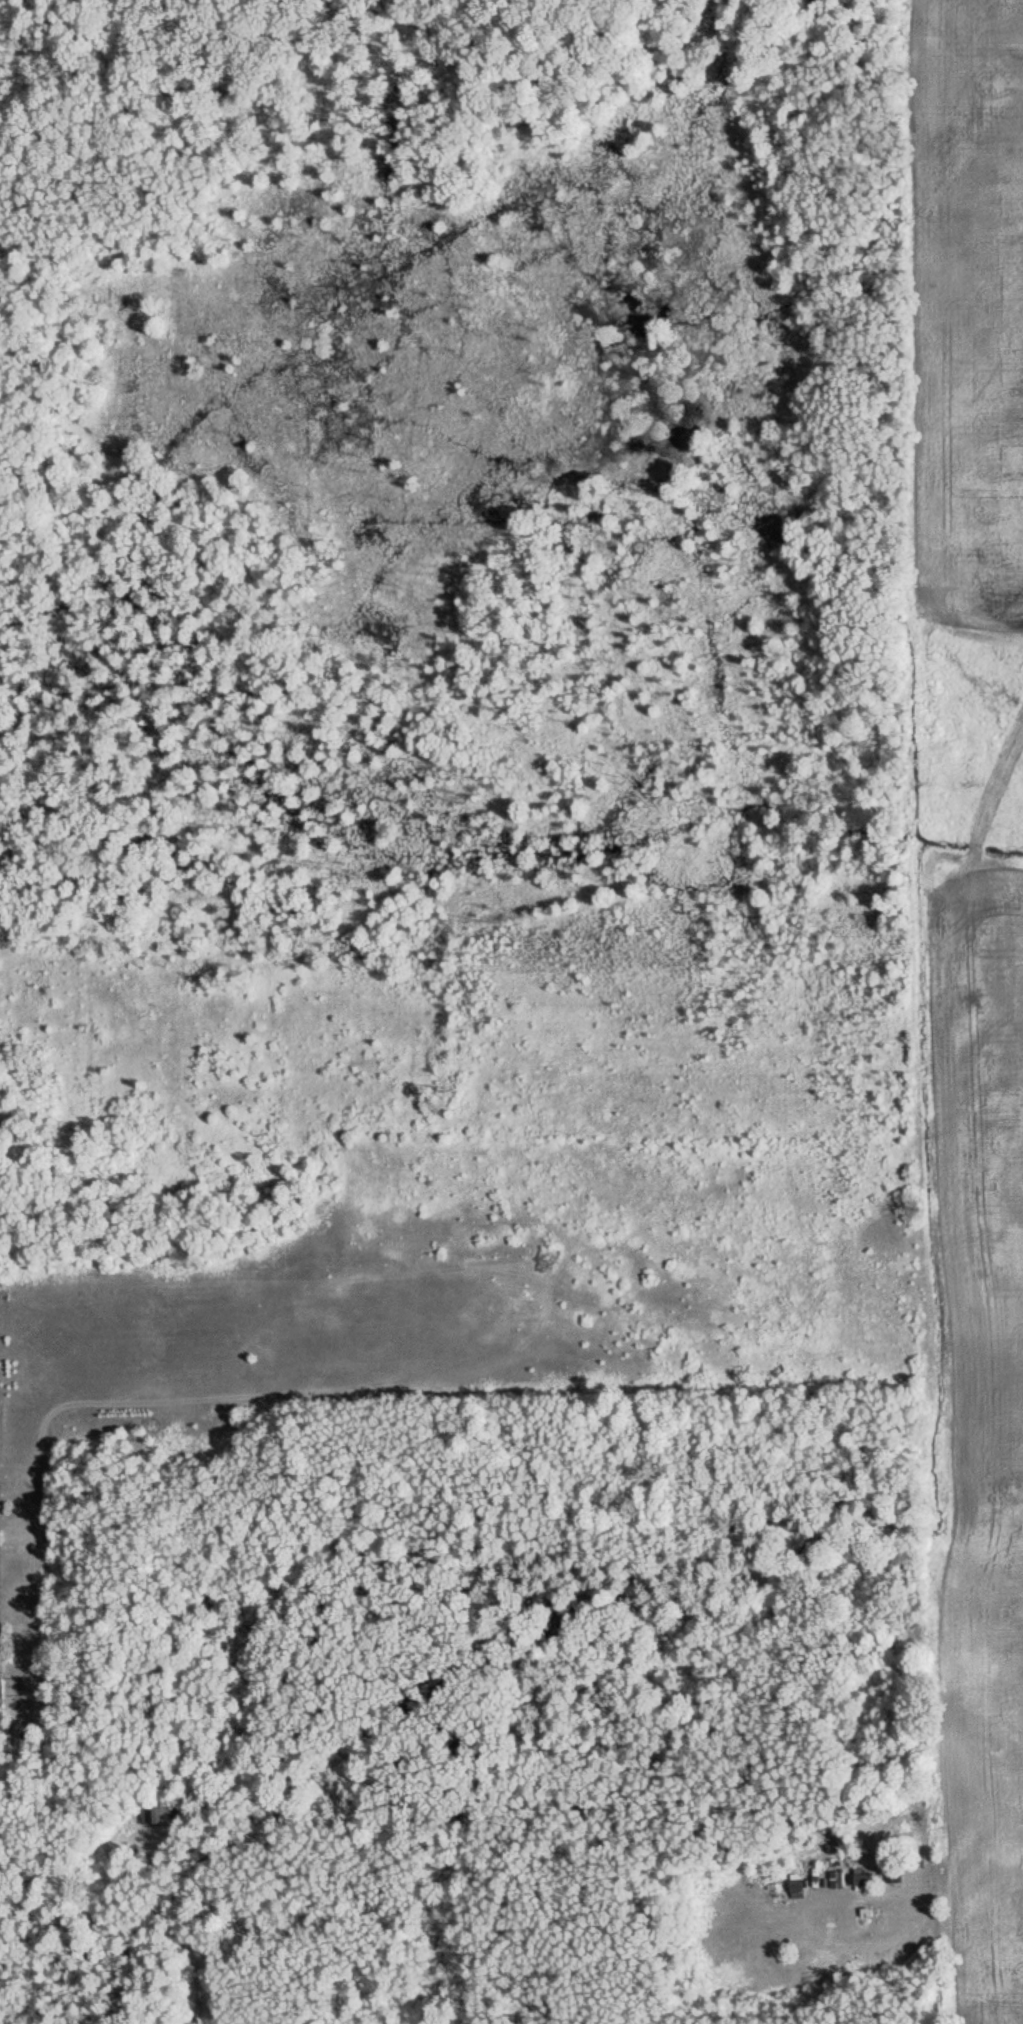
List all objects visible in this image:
building: (160, 1813)
building: (875, 1834)
building: (803, 1851)

